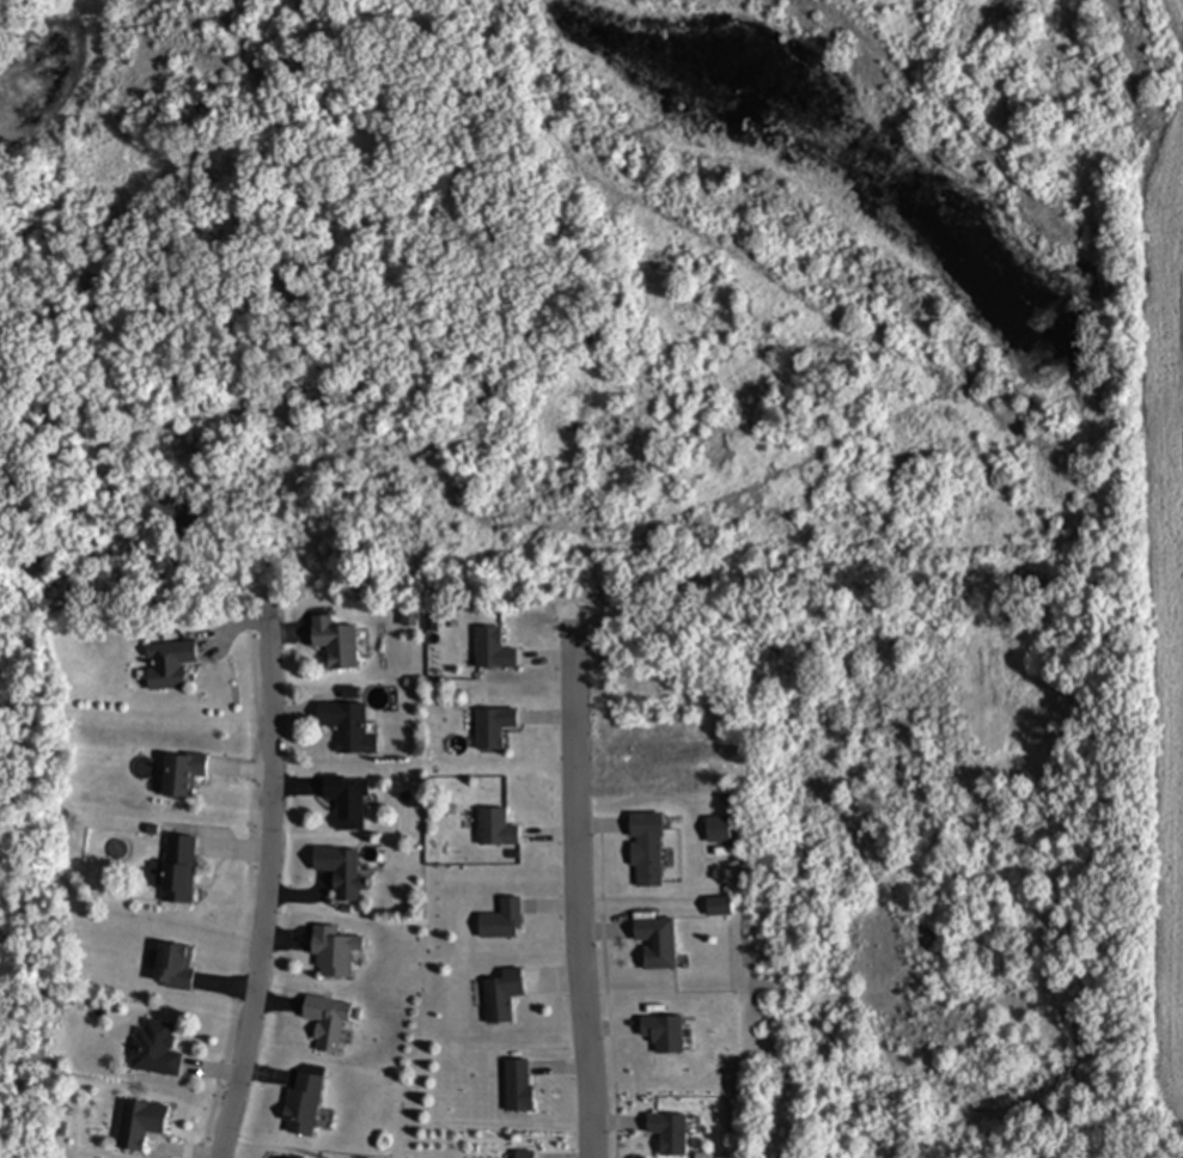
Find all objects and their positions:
park: (553, 319)
building: (336, 644)
building: (170, 666)
building: (349, 727)
building: (184, 774)
building: (348, 802)
building: (647, 849)
building: (177, 870)
building: (341, 871)
road: (257, 878)
road: (579, 892)
building: (502, 921)
building: (658, 941)
building: (334, 952)
building: (176, 965)
building: (502, 997)
building: (328, 1023)
building: (157, 1049)
building: (519, 1086)
building: (303, 1105)
building: (141, 1125)
building: (524, 1154)

